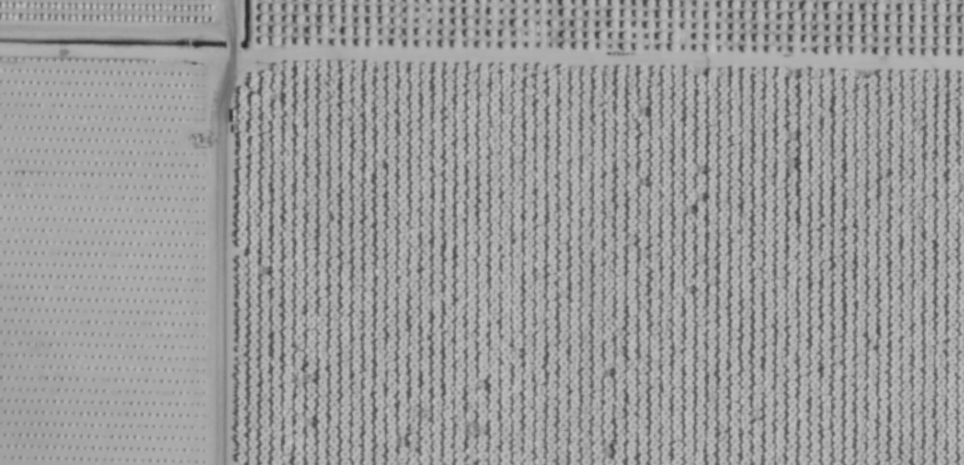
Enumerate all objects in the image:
crop: (627, 24)

